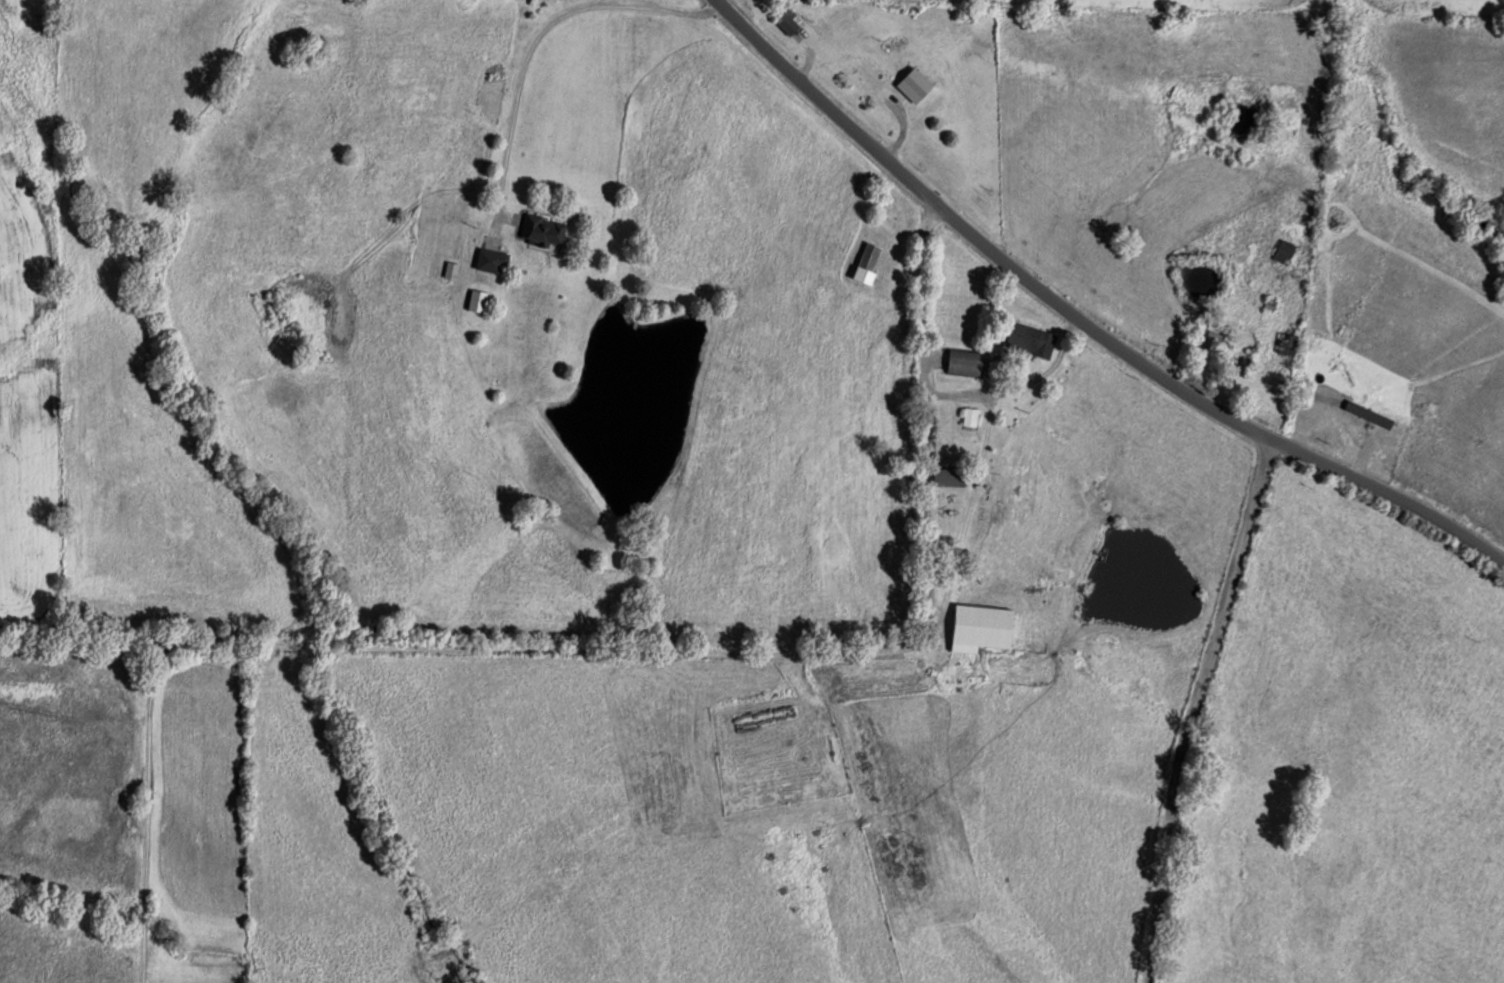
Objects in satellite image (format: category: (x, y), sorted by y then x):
building: (790, 21)
building: (915, 85)
road: (823, 141)
building: (543, 230)
building: (1284, 251)
building: (492, 260)
building: (868, 262)
building: (1032, 340)
building: (1288, 343)
building: (964, 362)
building: (970, 417)
road: (1235, 421)
building: (950, 475)
building: (982, 627)
road: (650, 669)
road: (160, 821)

